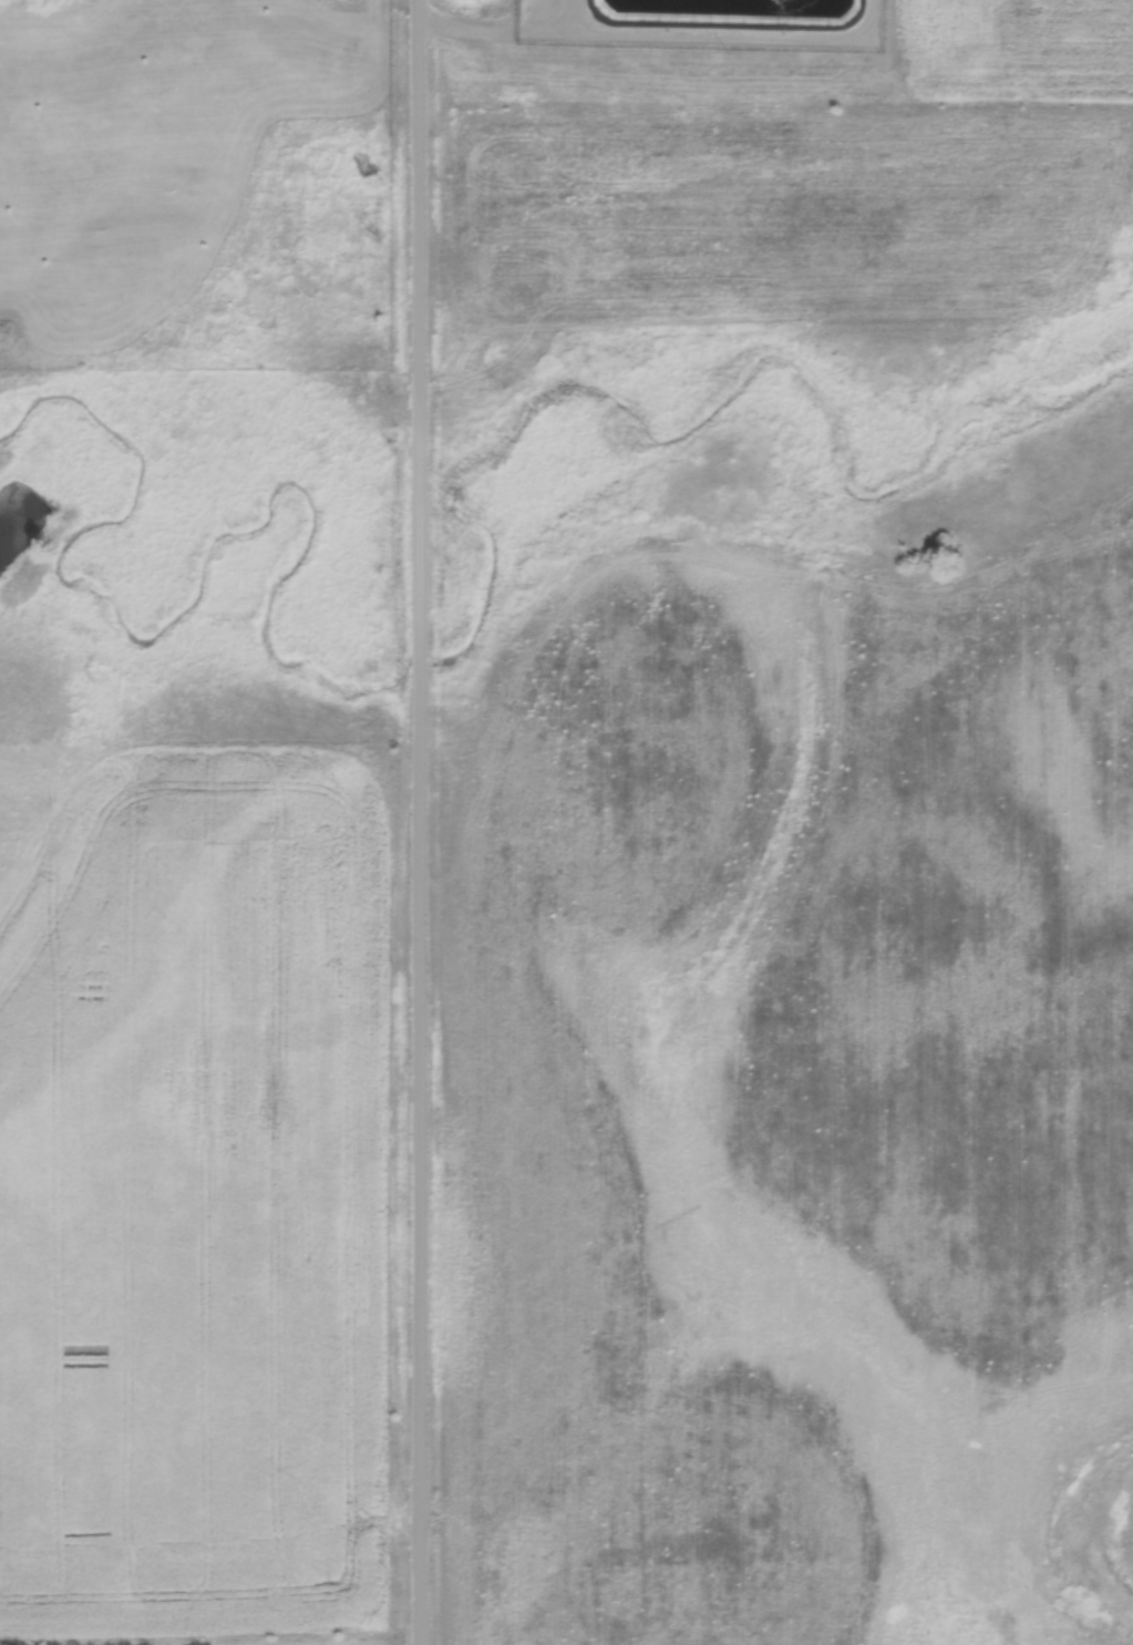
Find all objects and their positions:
road: (213, 318)
road: (425, 822)

